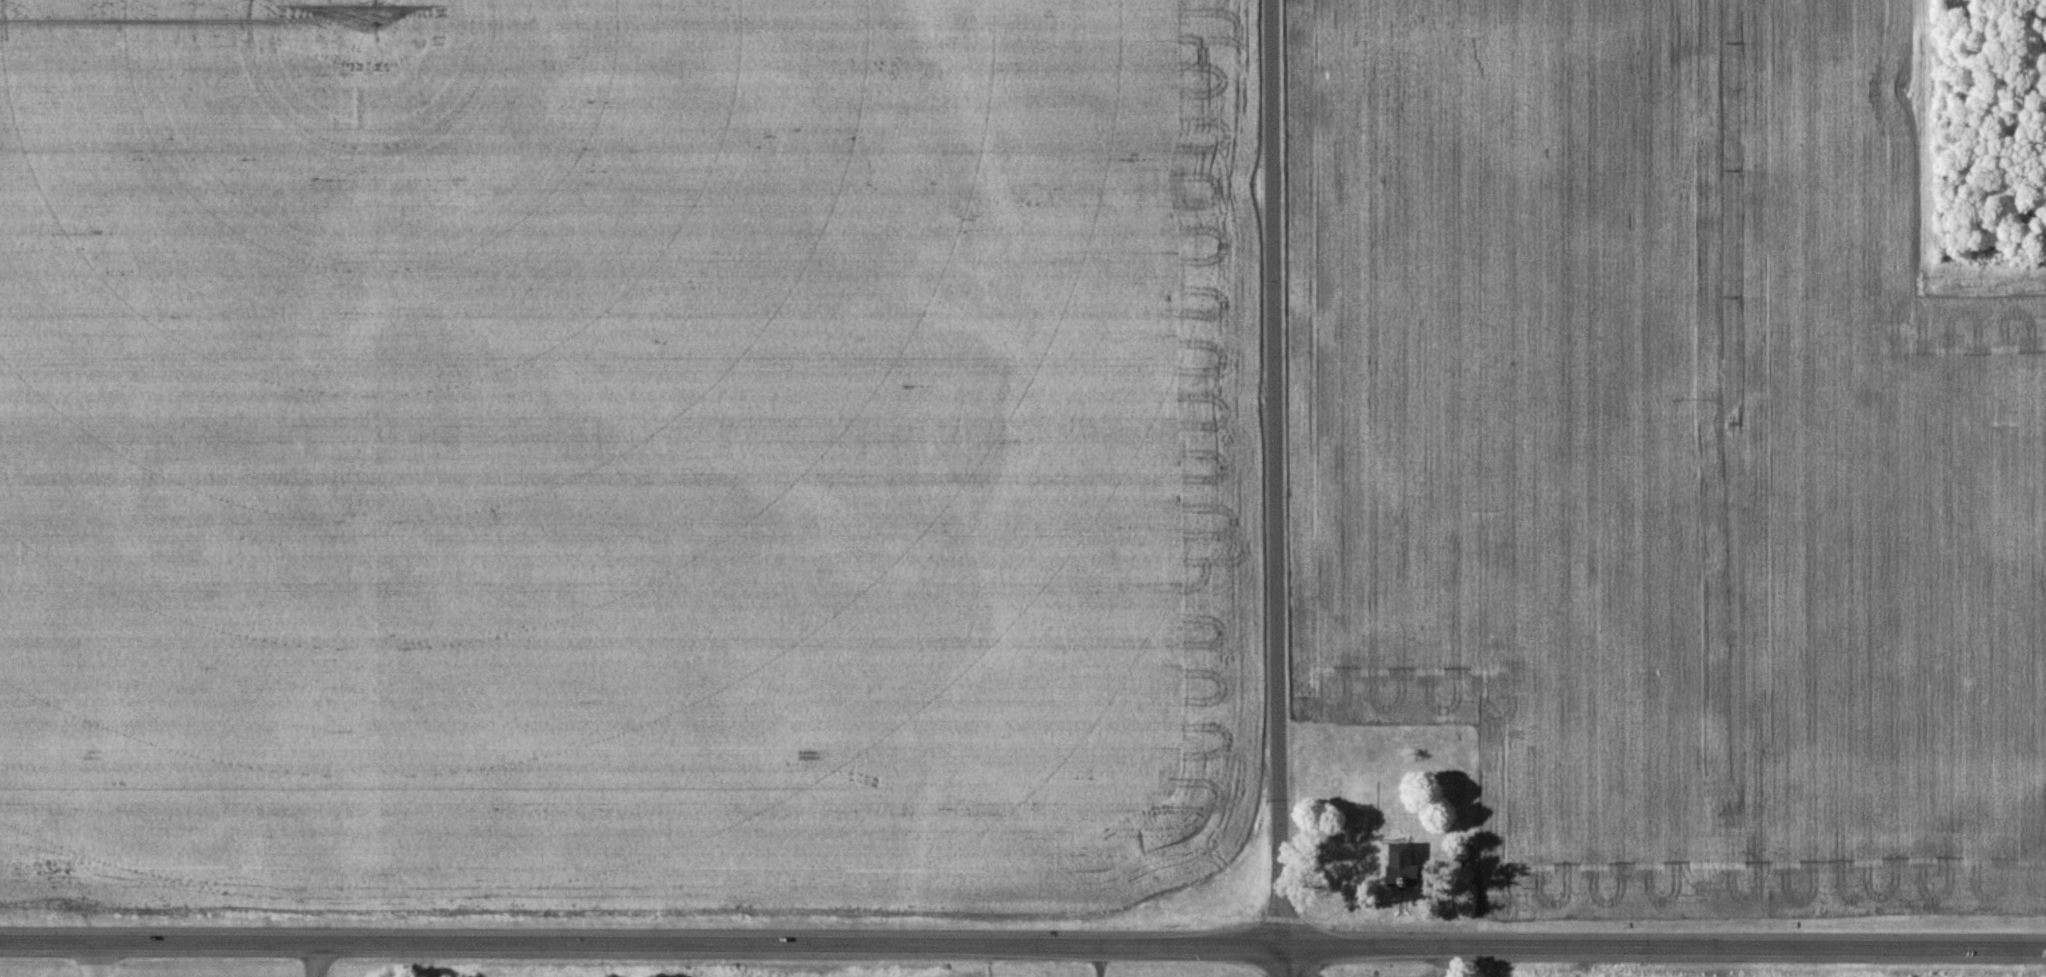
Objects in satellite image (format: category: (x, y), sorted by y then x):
road: (1279, 471)
building: (1400, 866)
road: (1023, 943)
road: (94, 960)
road: (319, 960)
road: (1284, 960)

